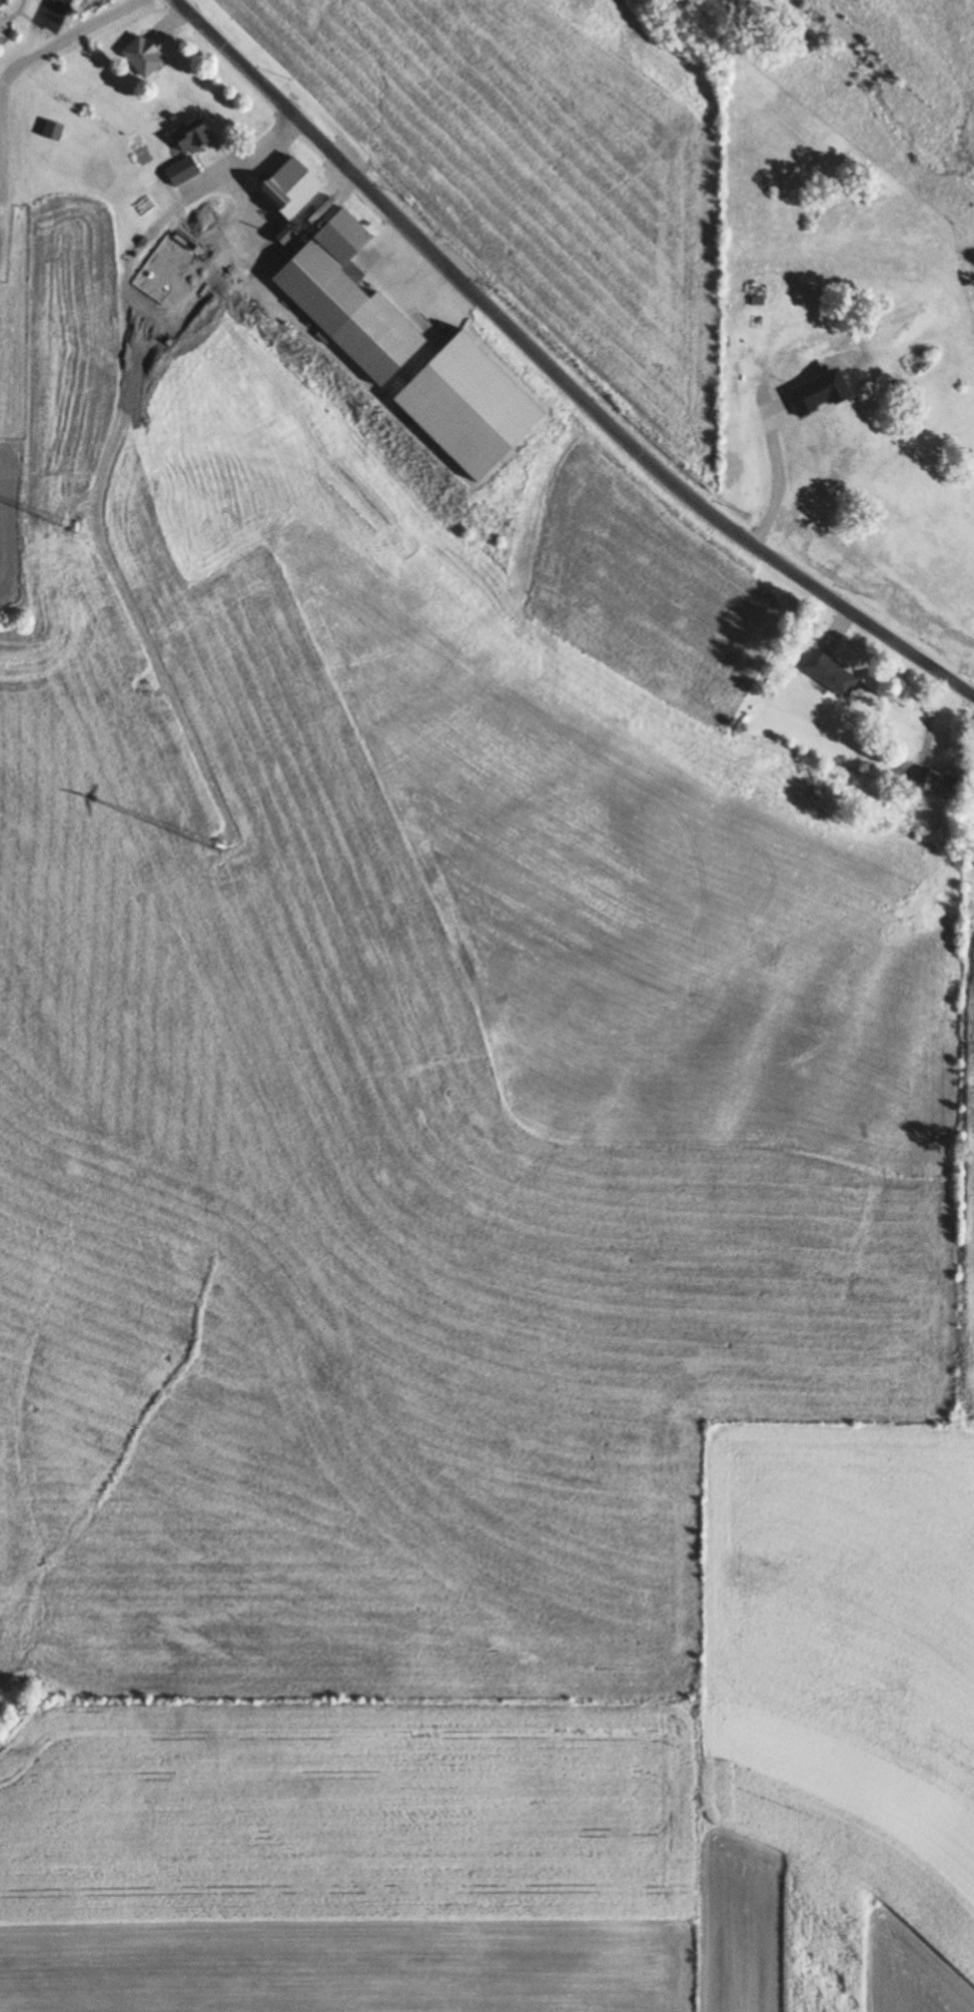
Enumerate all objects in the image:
building: (0, 0)
road: (314, 329)
road: (556, 375)

